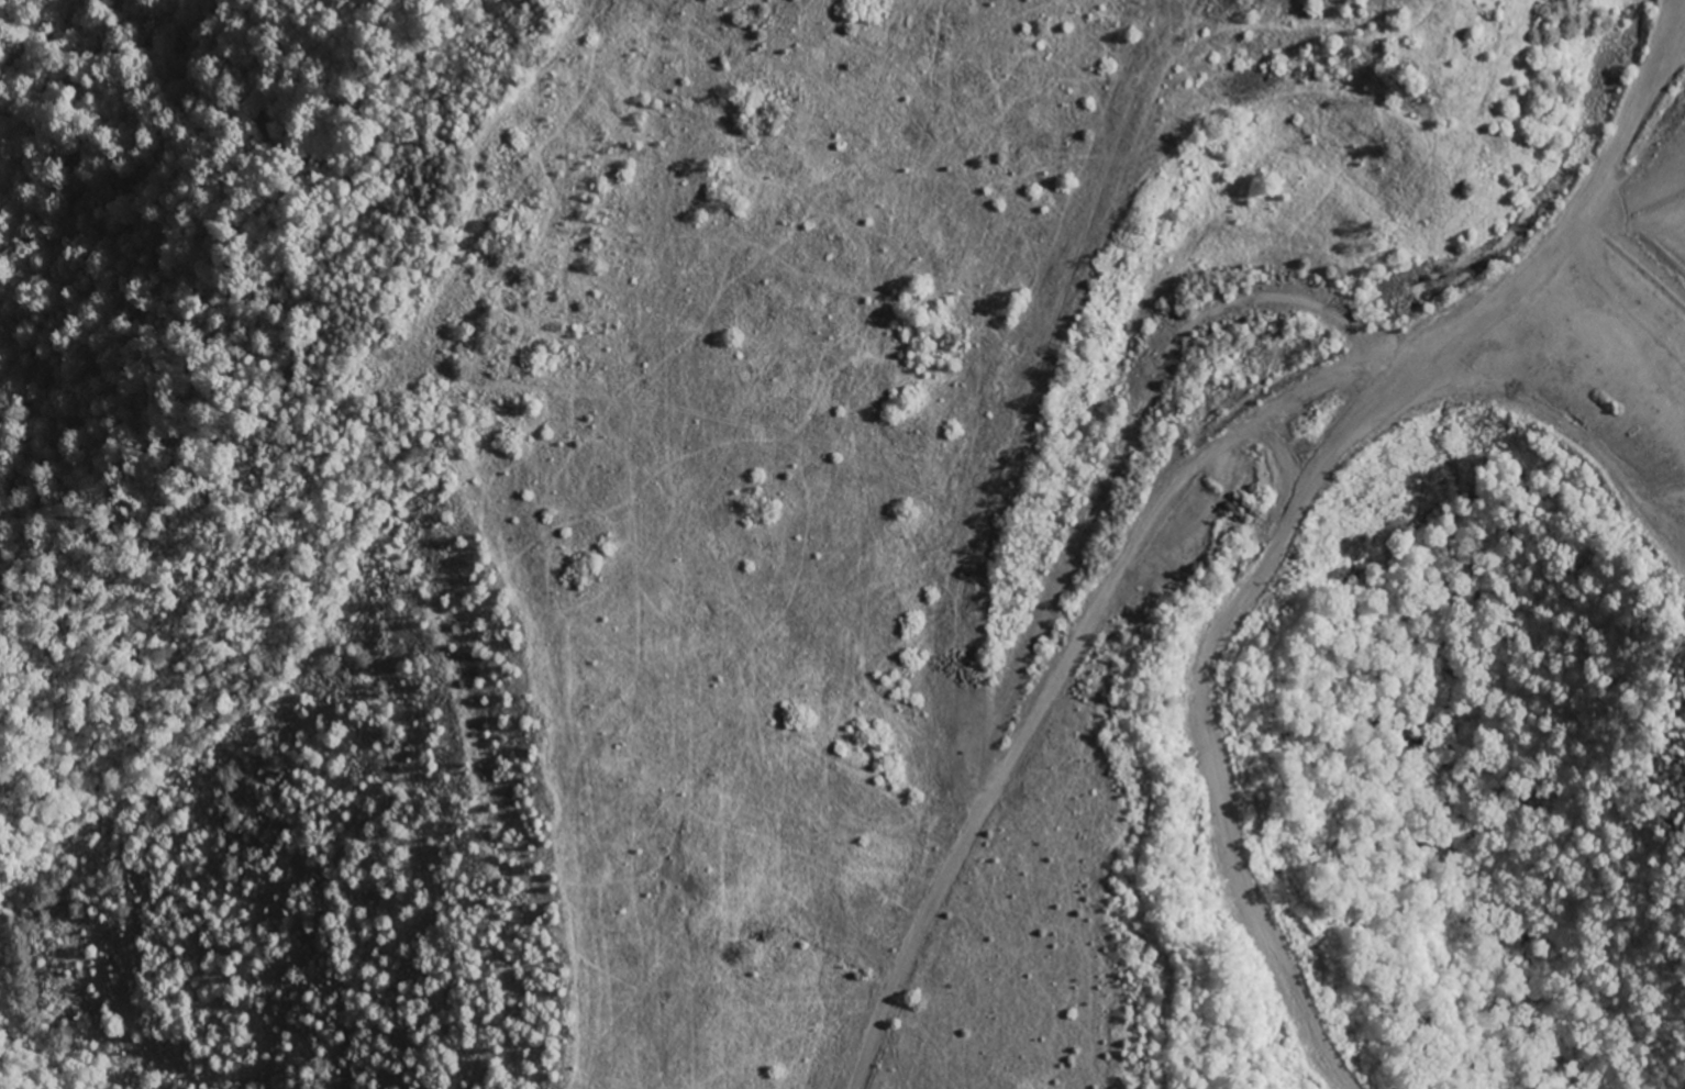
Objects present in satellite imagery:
road: (1295, 510)

